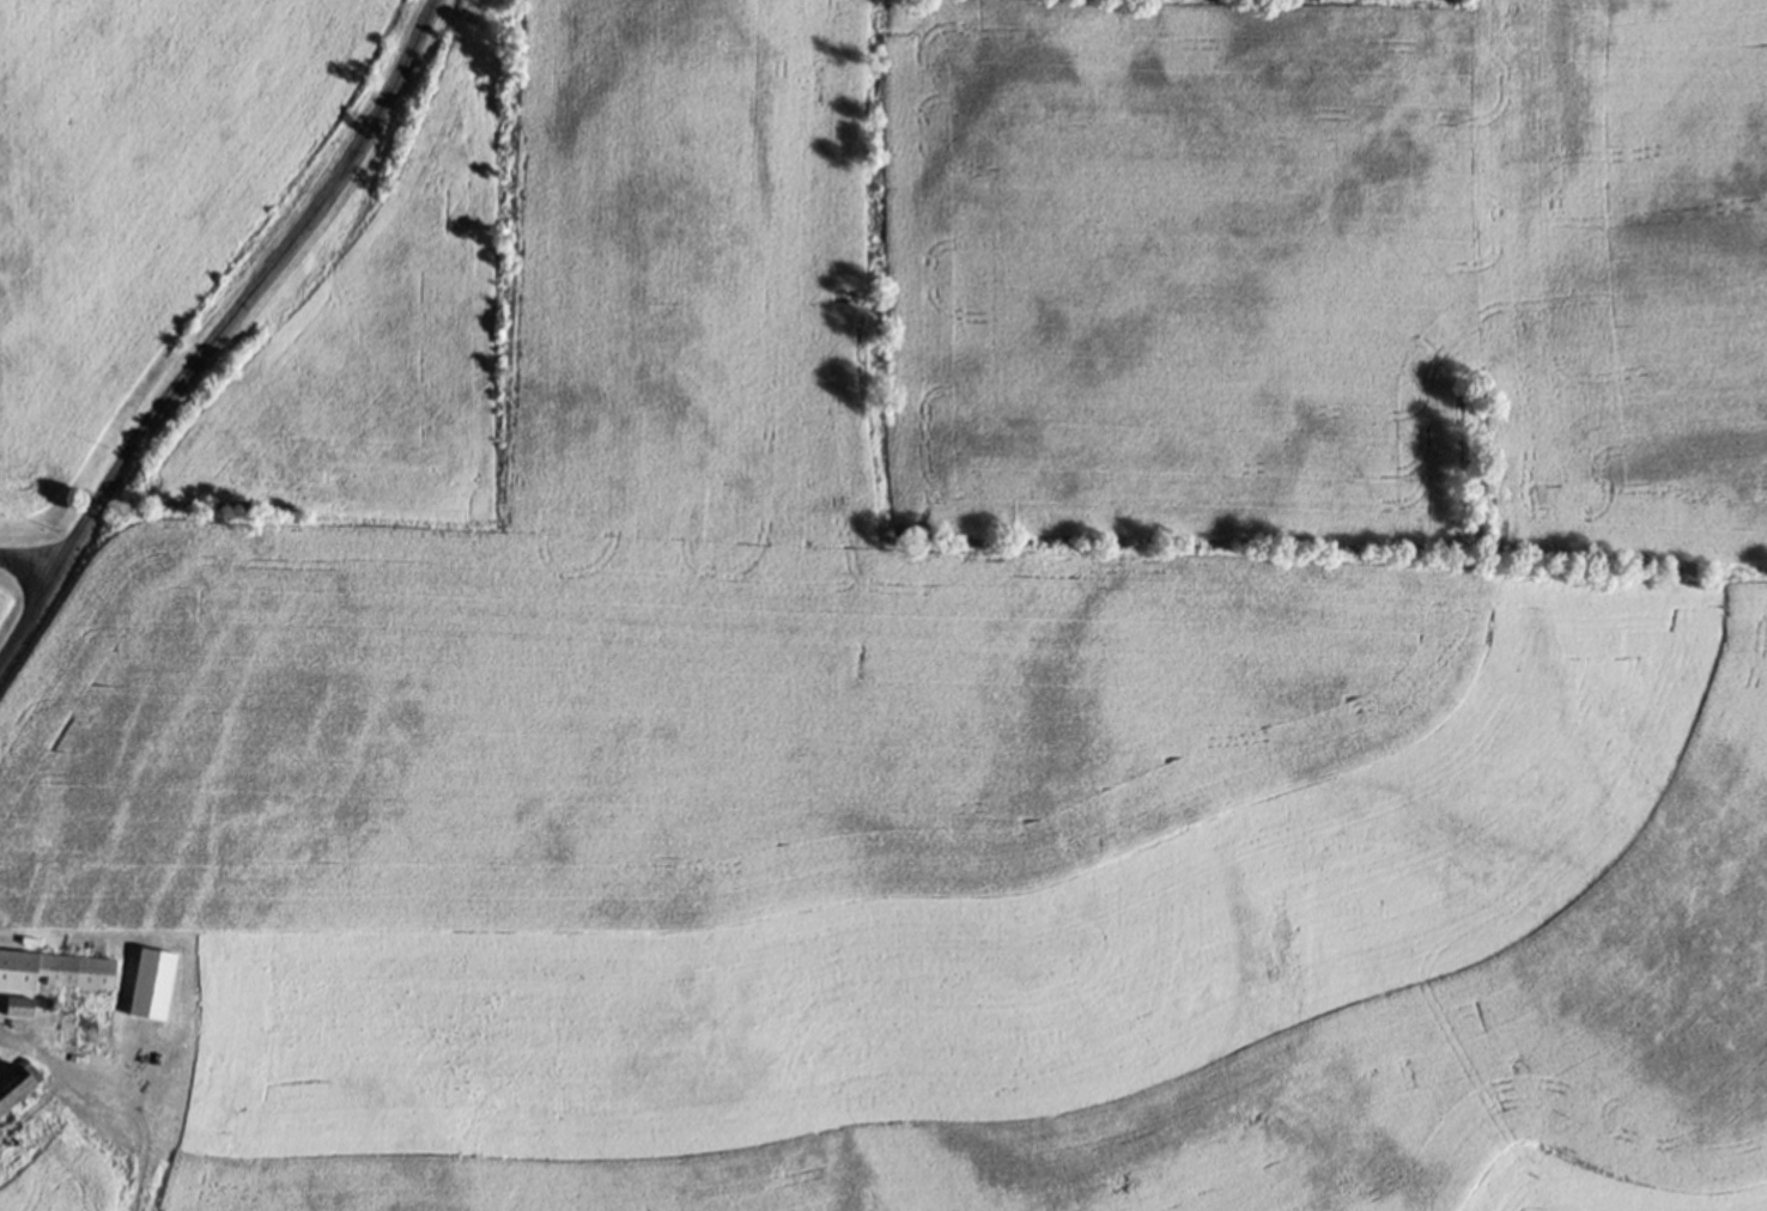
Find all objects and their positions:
road: (219, 333)
road: (29, 562)
crop: (964, 628)
building: (55, 969)
building: (152, 982)
building: (19, 1005)
building: (17, 1083)

